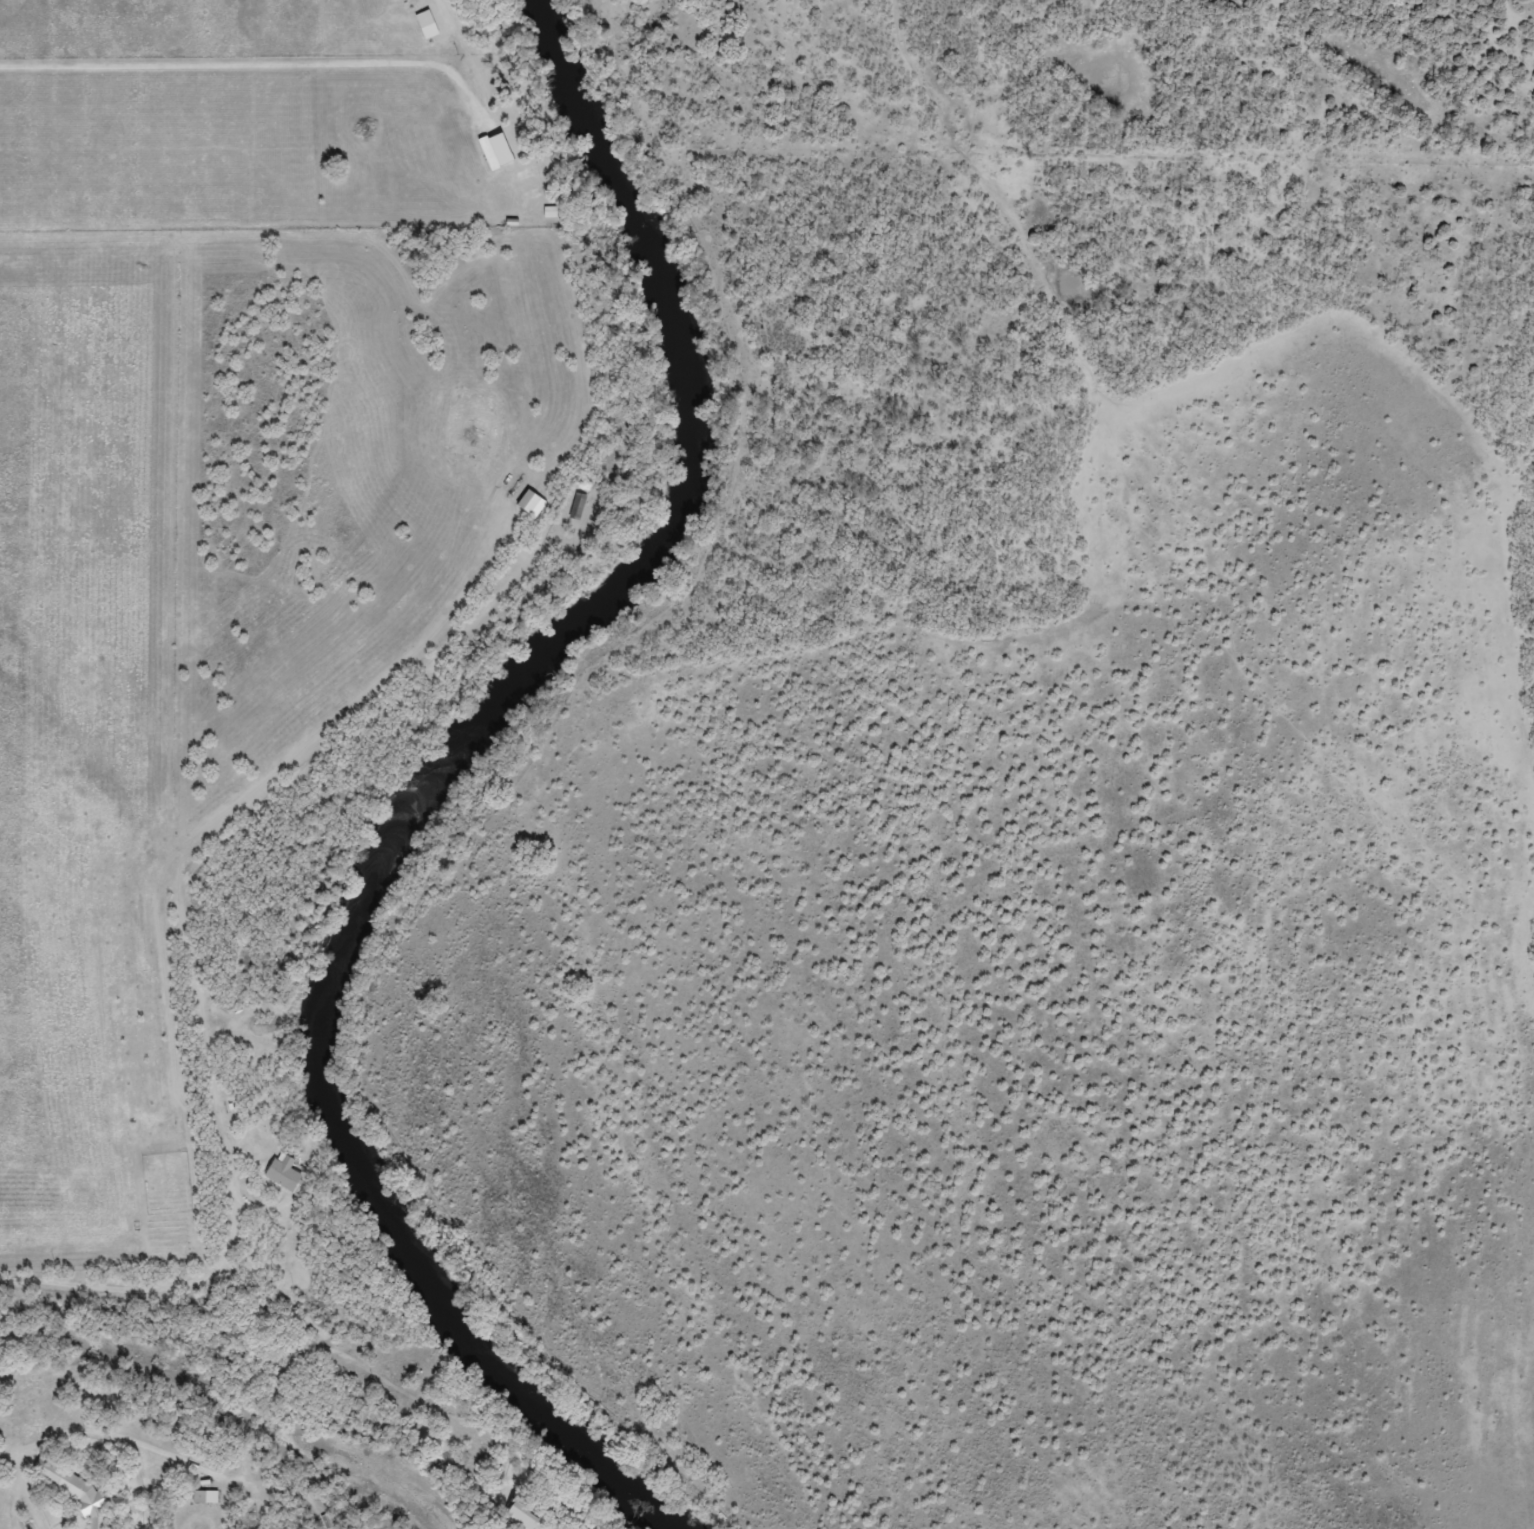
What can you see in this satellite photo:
building: (496, 152)
road: (1454, 446)
building: (529, 503)
building: (577, 509)
building: (284, 1175)
road: (282, 1297)
building: (76, 1492)
building: (205, 1498)
building: (524, 1514)

